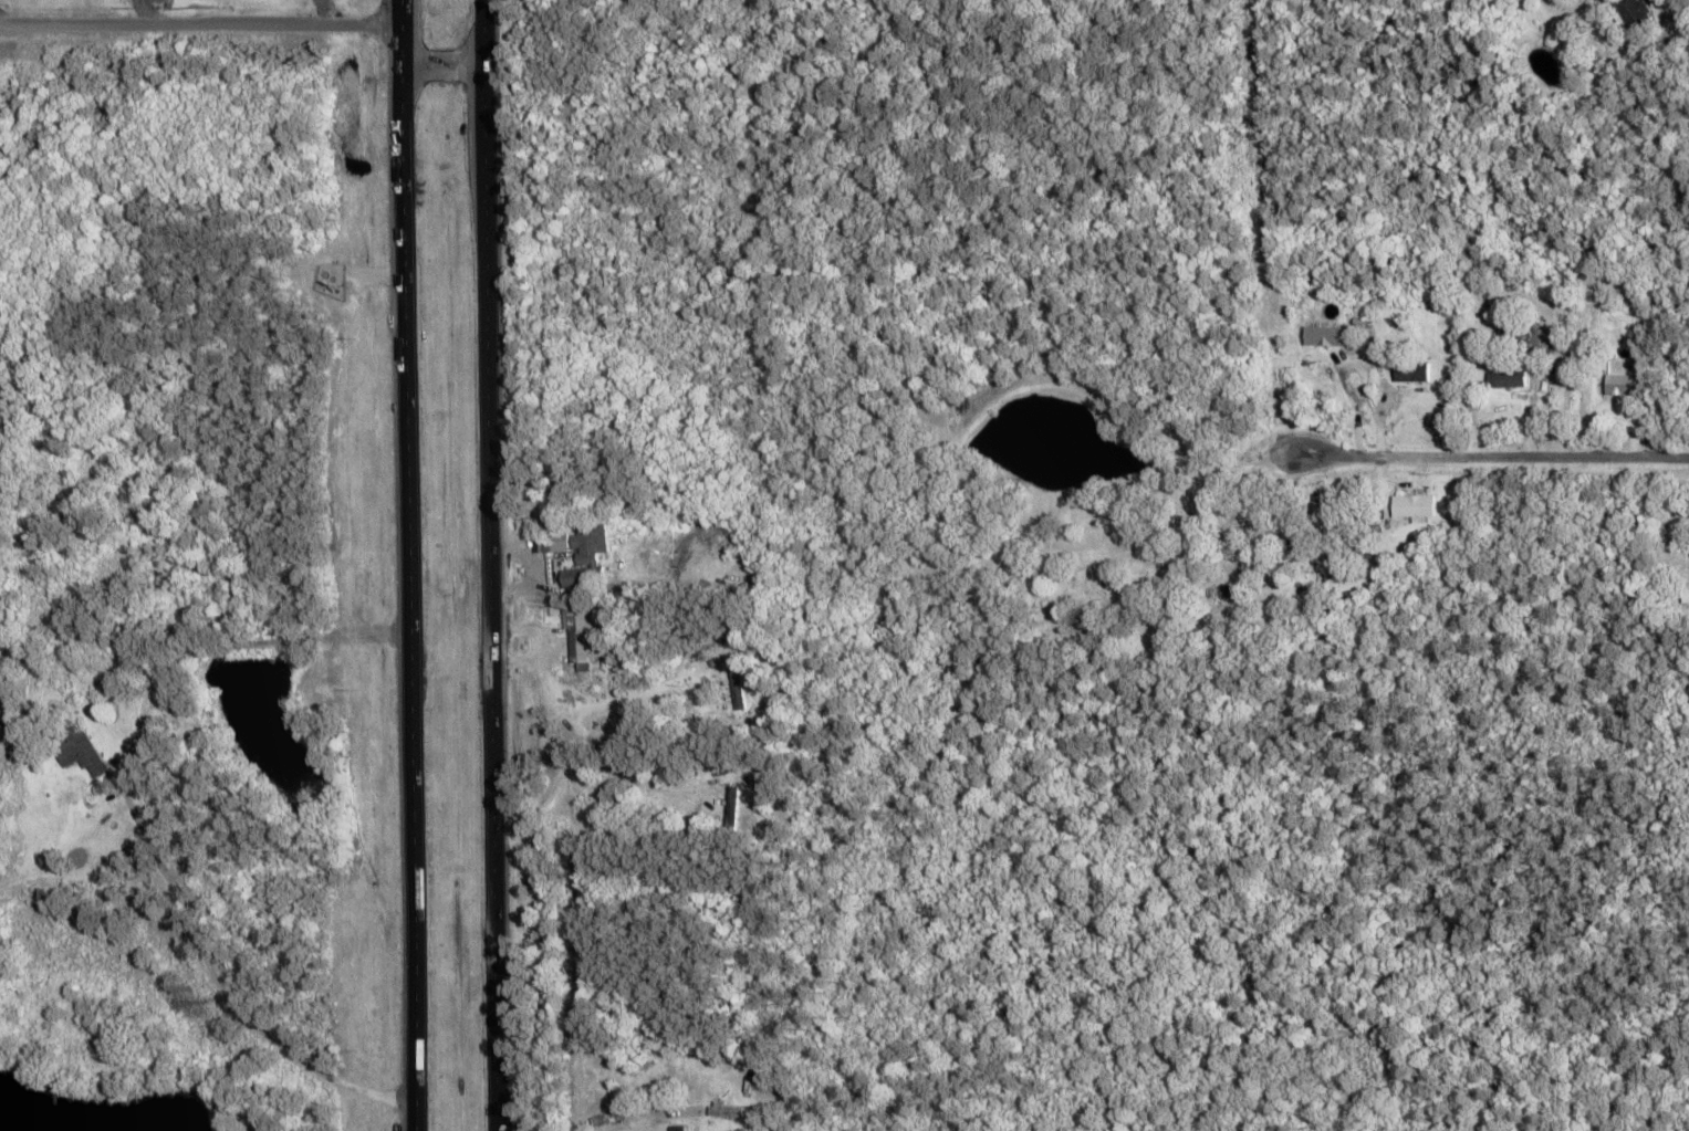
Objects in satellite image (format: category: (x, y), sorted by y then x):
building: (1631, 11)
road: (441, 64)
building: (1327, 335)
building: (1535, 339)
building: (1409, 371)
building: (1502, 379)
building: (1615, 384)
road: (1485, 455)
building: (1410, 505)
building: (554, 542)
building: (586, 554)
road: (407, 565)
road: (489, 565)
building: (1685, 593)
building: (580, 630)
building: (76, 751)
road: (137, 820)
building: (721, 1110)

